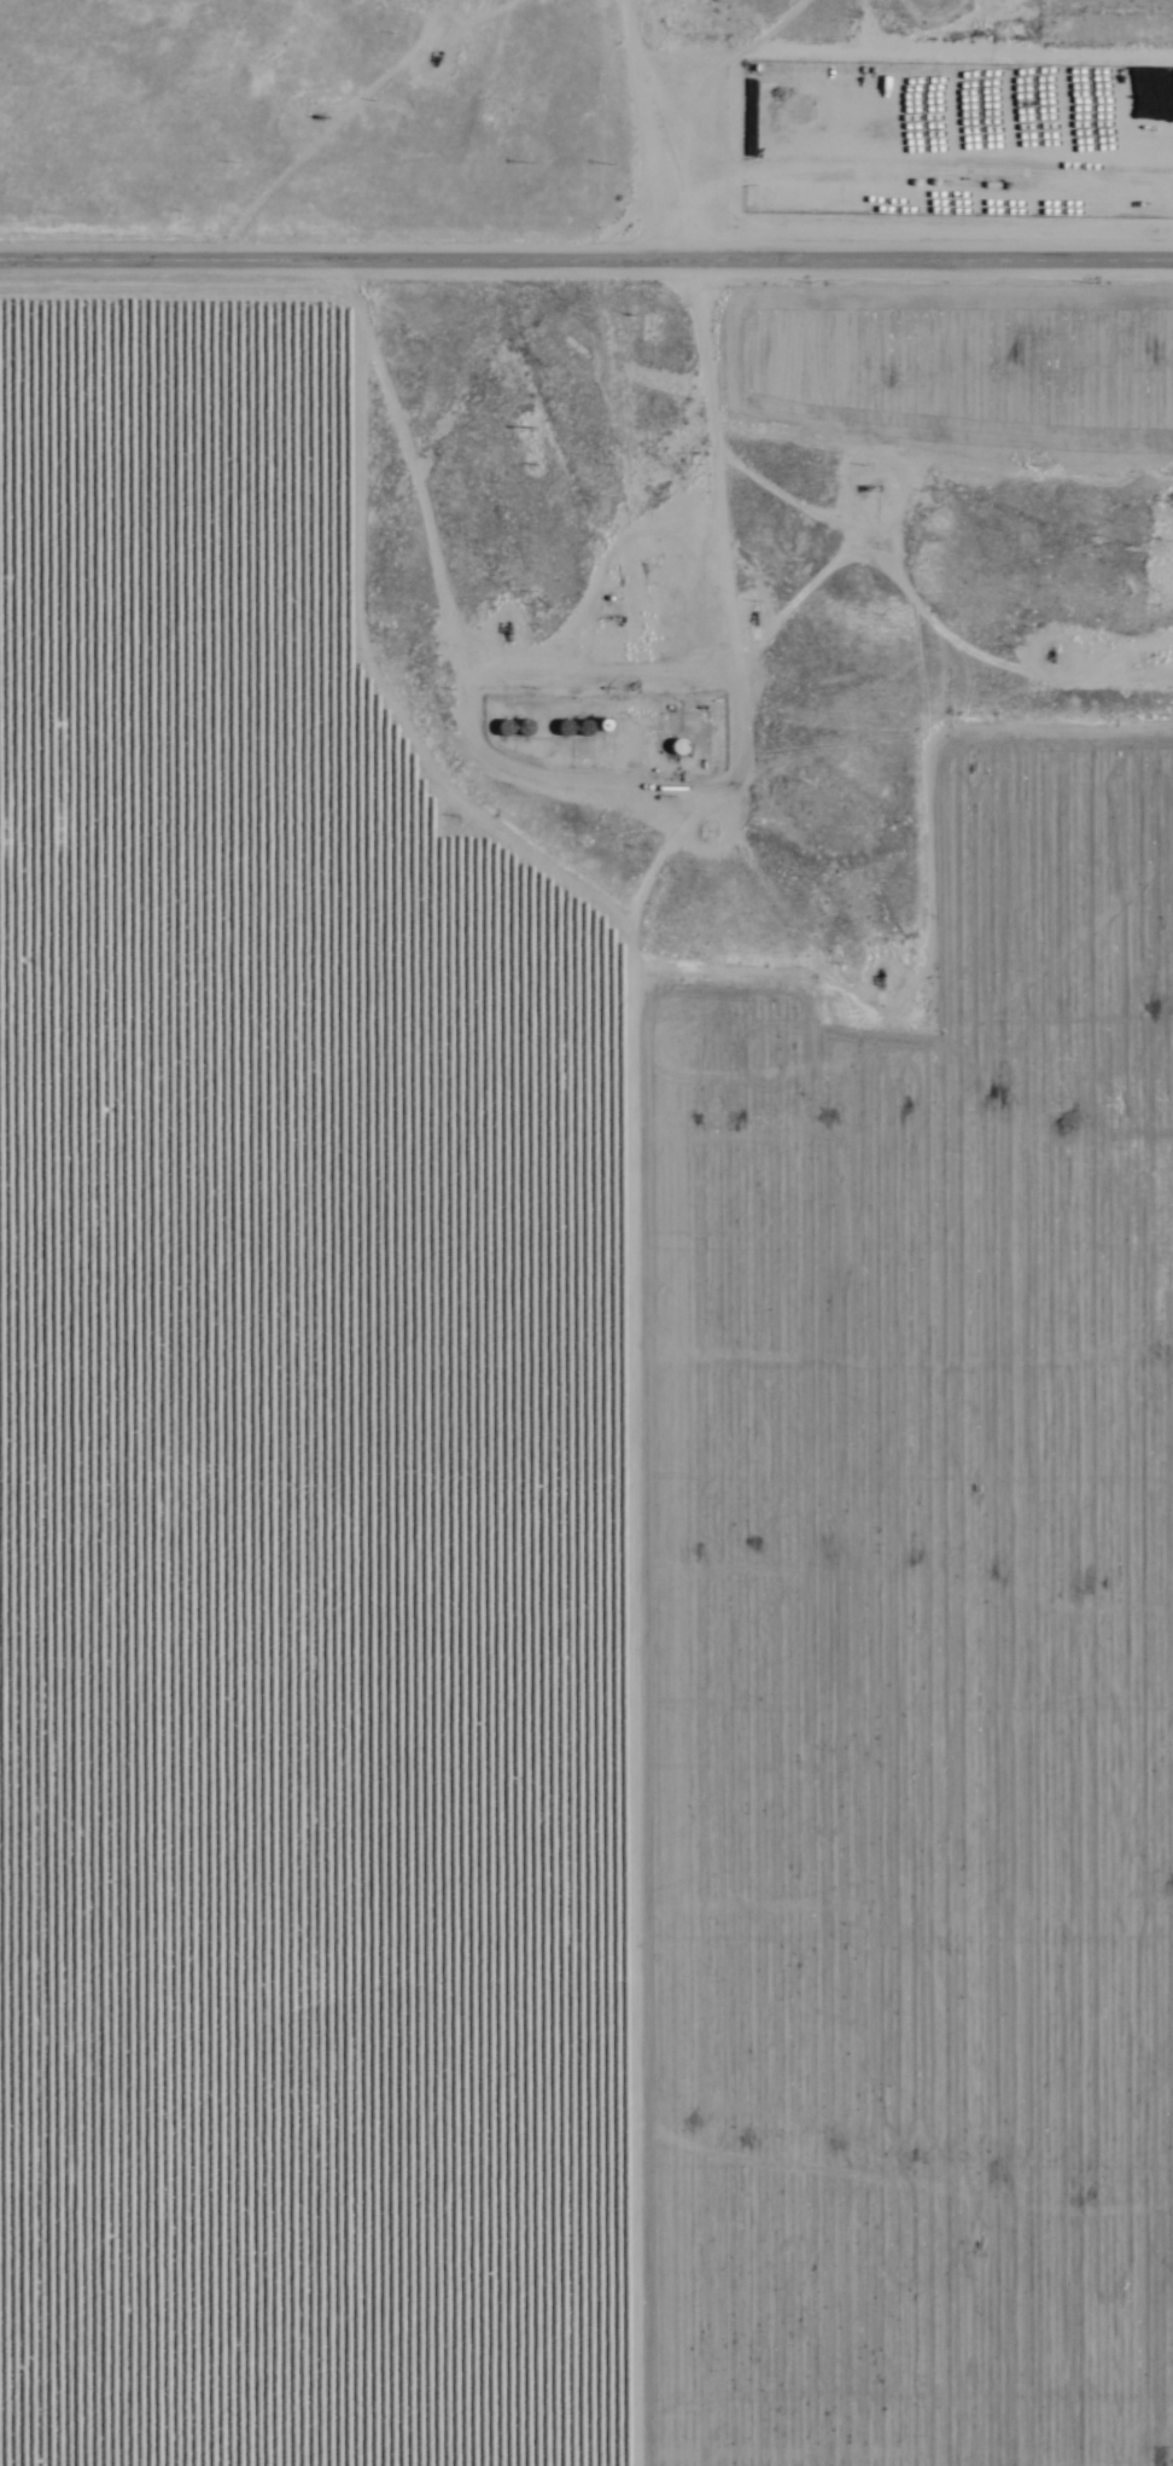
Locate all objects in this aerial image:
road: (591, 130)
road: (586, 262)
crop: (945, 310)
road: (886, 1144)
road: (590, 1246)
crop: (549, 1532)

